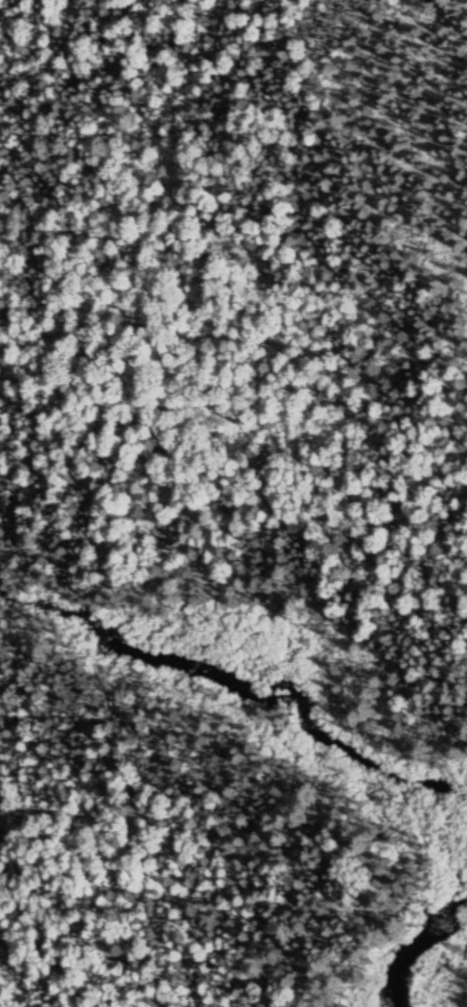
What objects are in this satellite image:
river: (238, 691)
river: (414, 938)

